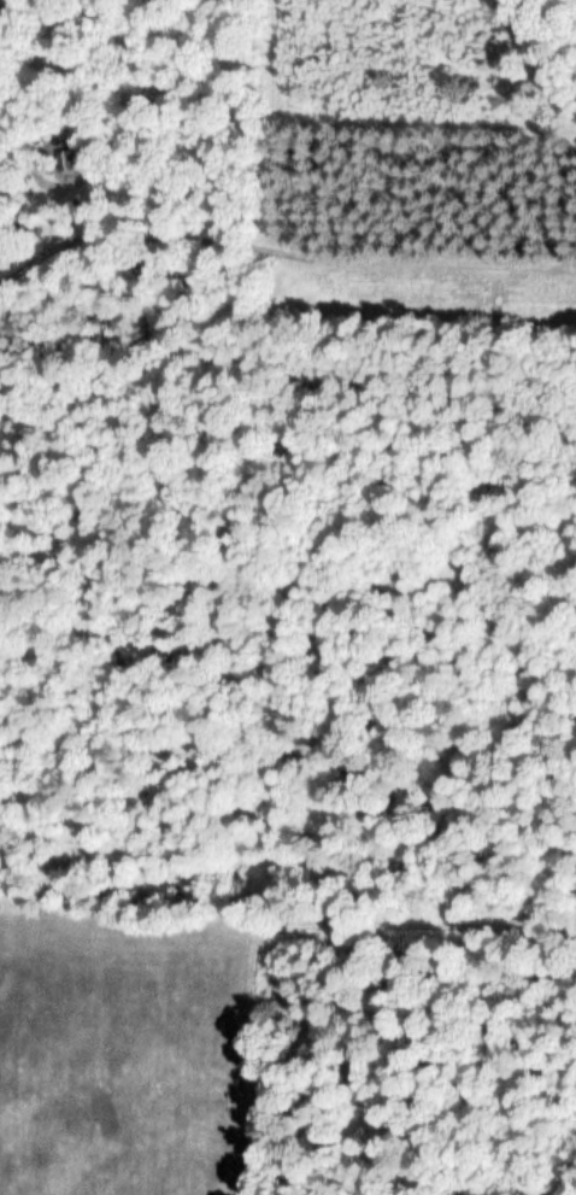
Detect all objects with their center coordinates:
building: (72, 159)
road: (282, 253)

